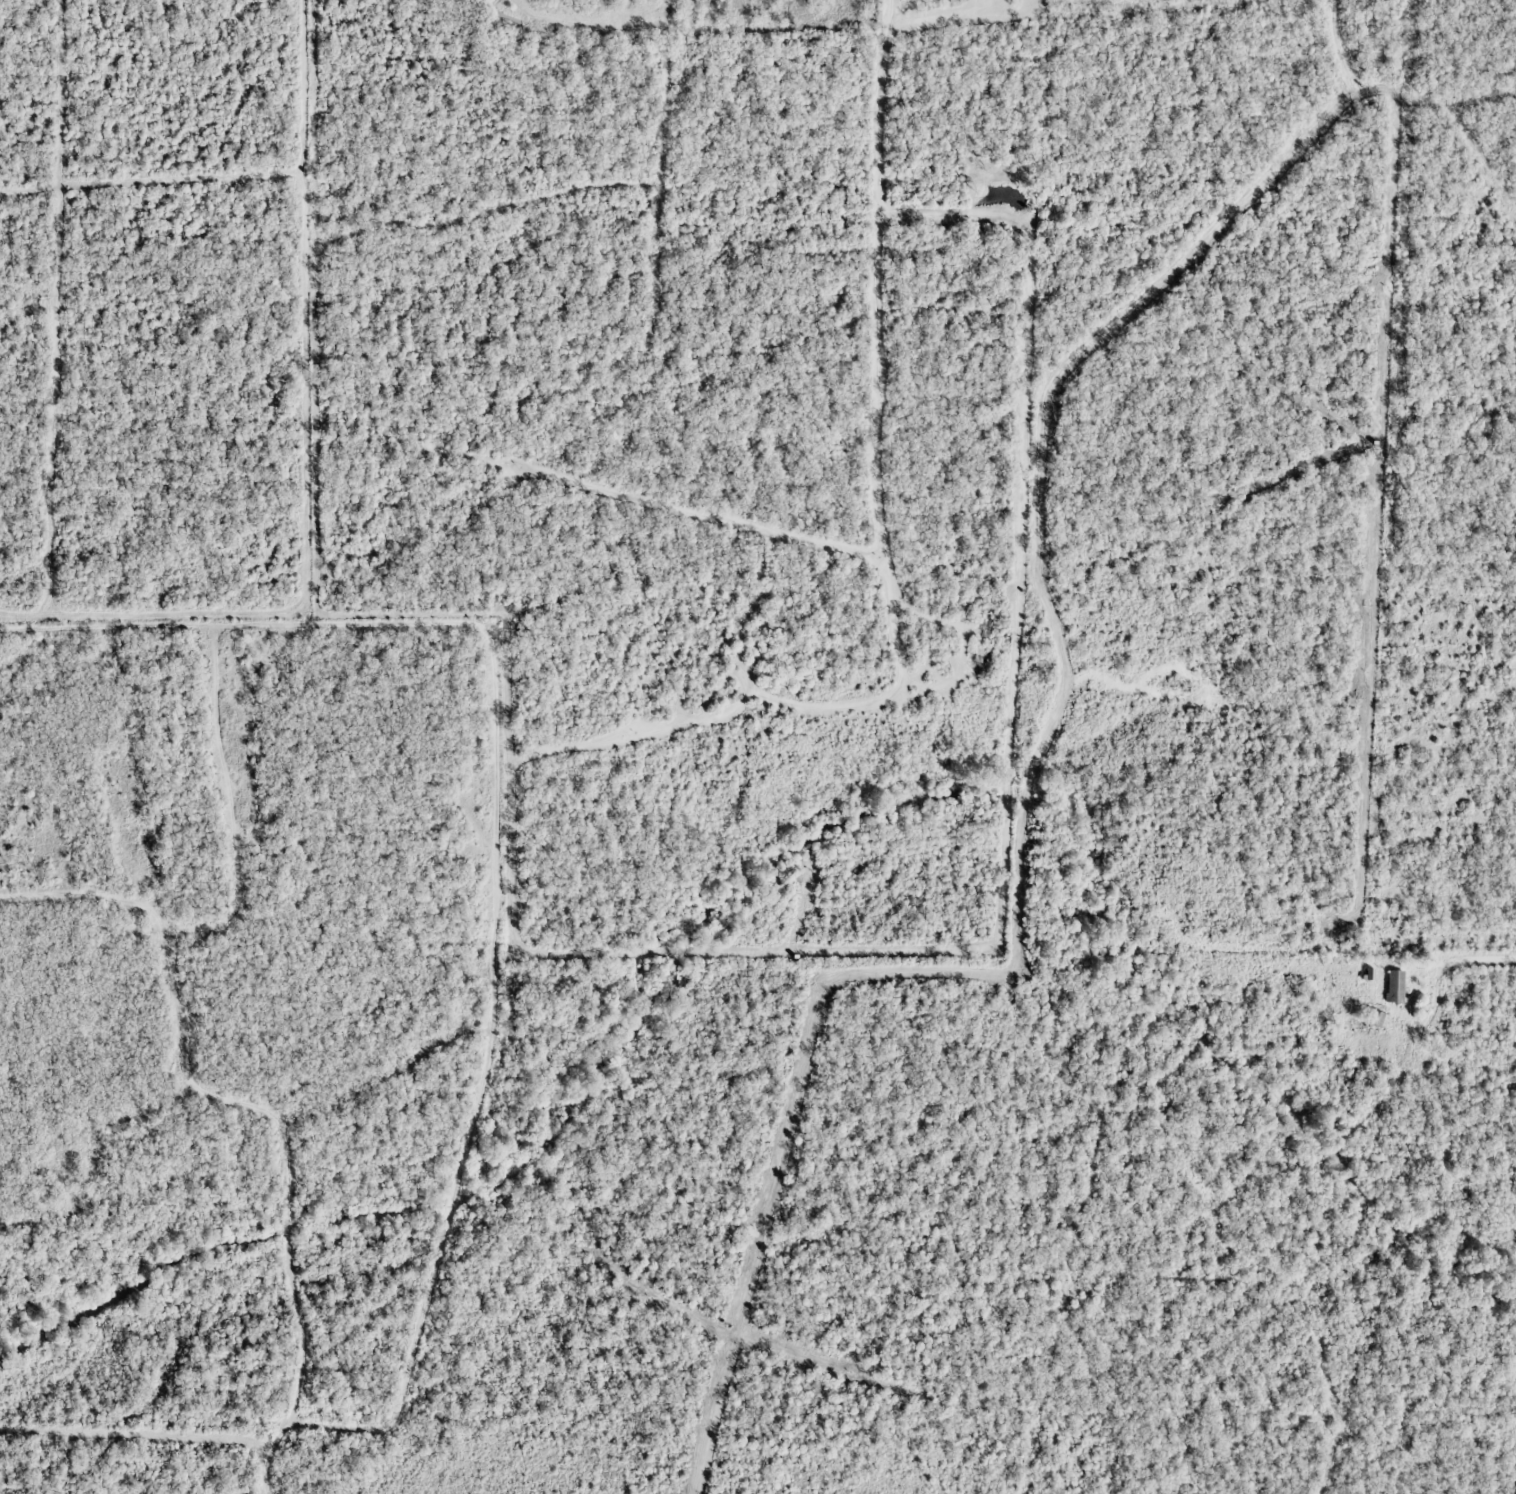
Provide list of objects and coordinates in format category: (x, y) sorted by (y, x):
building: (1396, 985)

